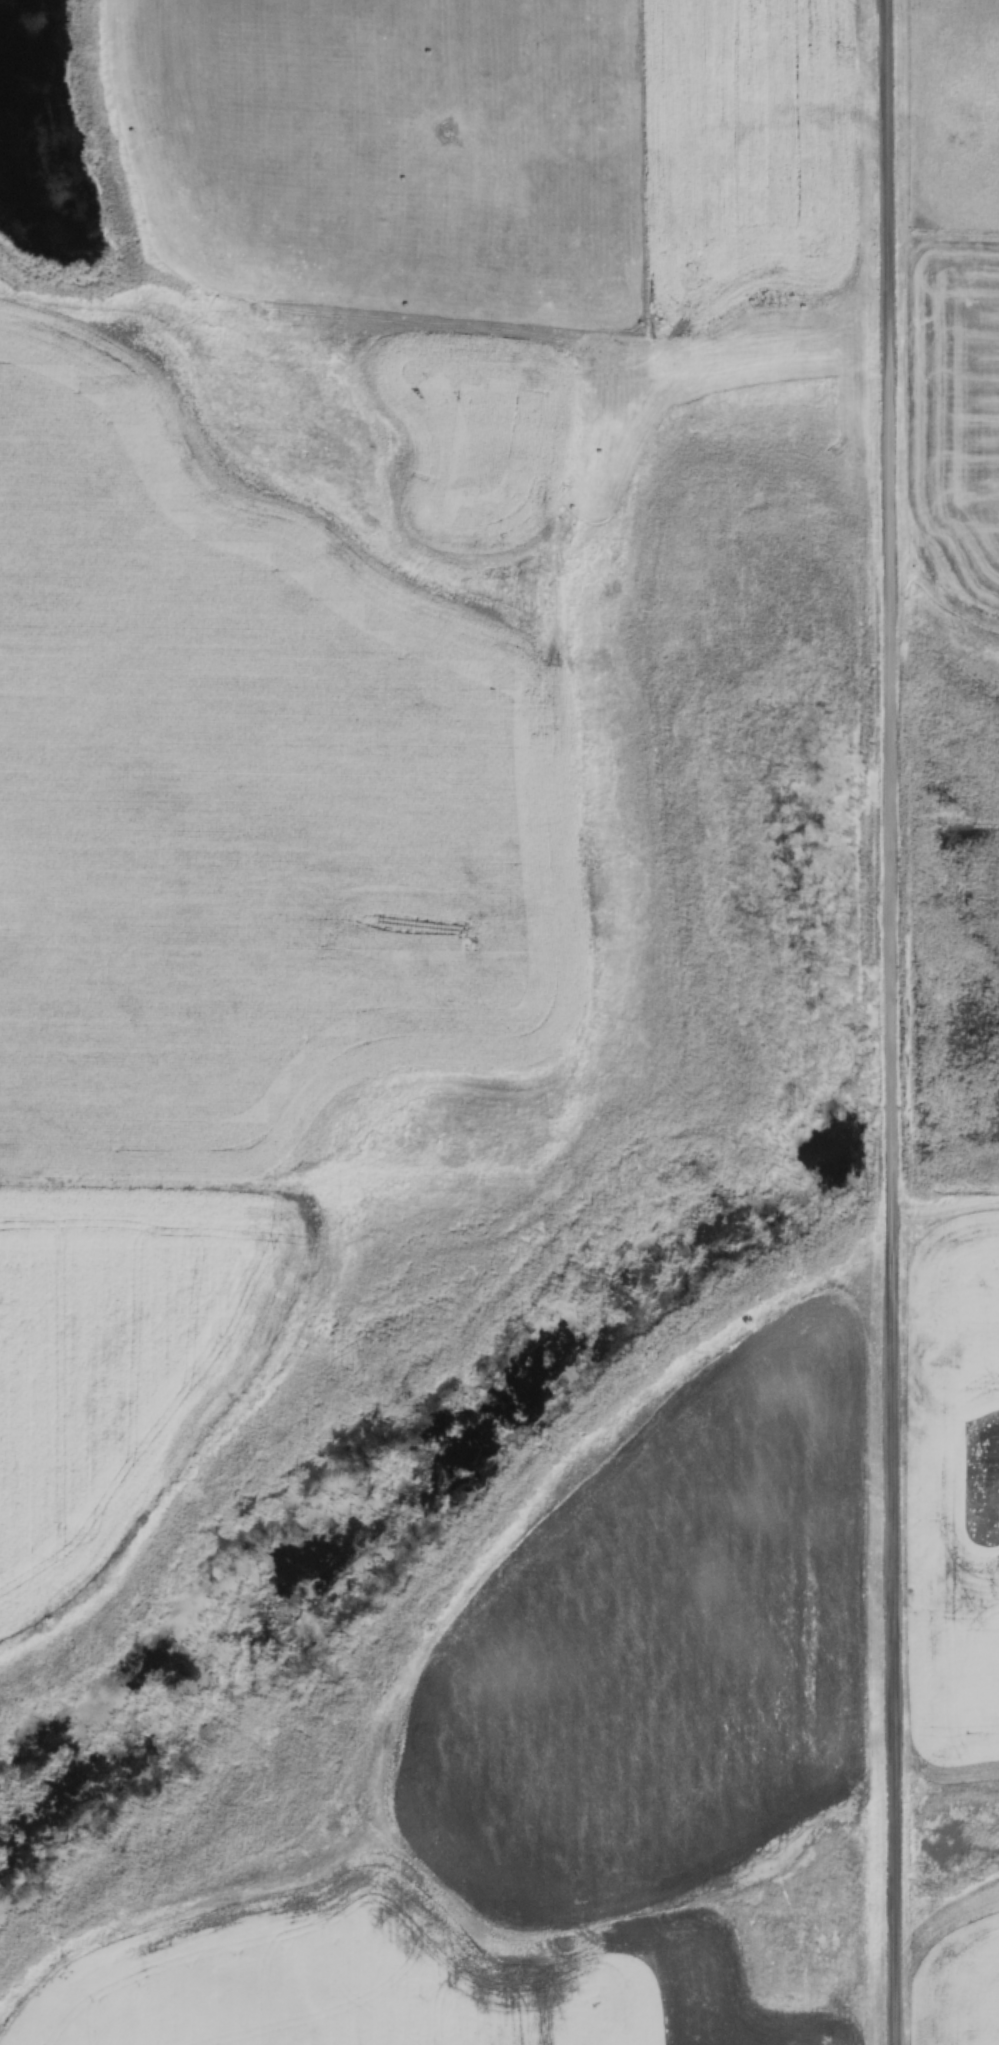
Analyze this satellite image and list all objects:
road: (887, 49)
building: (515, 191)
road: (891, 1071)

